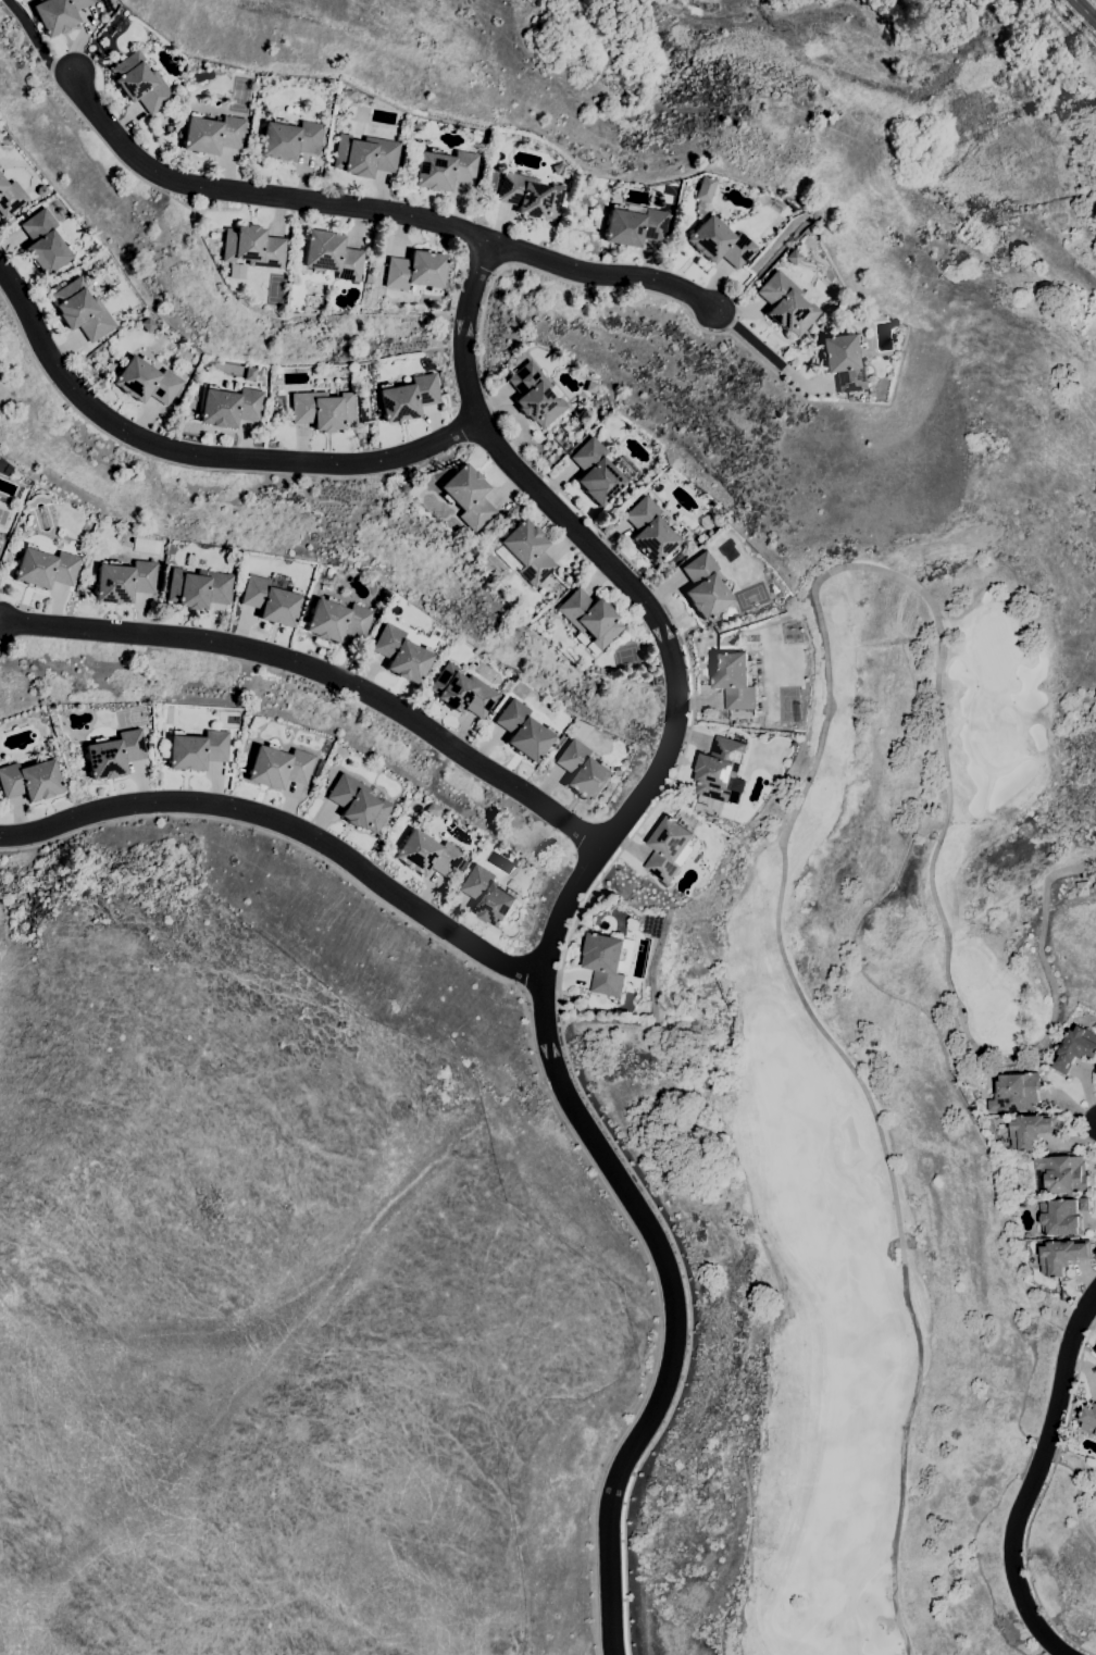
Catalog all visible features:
road: (1084, 11)
building: (58, 14)
road: (1072, 24)
road: (39, 38)
building: (140, 83)
building: (212, 134)
building: (289, 139)
building: (364, 155)
building: (556, 169)
building: (444, 170)
building: (0, 171)
road: (259, 194)
building: (530, 196)
building: (10, 197)
building: (635, 224)
building: (717, 232)
building: (45, 242)
building: (252, 247)
building: (332, 256)
building: (793, 257)
building: (415, 271)
road: (601, 273)
road: (650, 295)
building: (786, 303)
building: (80, 309)
building: (148, 325)
road: (747, 335)
building: (844, 361)
building: (186, 369)
building: (146, 381)
building: (590, 387)
building: (535, 395)
building: (408, 398)
building: (849, 398)
building: (229, 407)
building: (323, 410)
road: (198, 455)
building: (596, 472)
building: (415, 488)
building: (468, 496)
building: (706, 522)
building: (649, 530)
building: (525, 552)
building: (231, 559)
building: (190, 561)
building: (248, 567)
building: (45, 568)
building: (336, 580)
building: (124, 581)
building: (705, 586)
building: (197, 588)
building: (272, 598)
building: (589, 619)
building: (337, 620)
building: (565, 649)
building: (401, 654)
road: (322, 672)
building: (734, 680)
building: (462, 692)
building: (254, 721)
building: (523, 731)
building: (197, 749)
building: (114, 754)
building: (278, 767)
building: (583, 771)
building: (721, 772)
building: (30, 780)
building: (358, 804)
building: (418, 804)
building: (432, 809)
road: (285, 824)
building: (670, 849)
building: (427, 854)
building: (462, 867)
building: (1082, 888)
building: (487, 896)
road: (578, 911)
road: (563, 920)
building: (606, 963)
building: (1075, 1049)
road: (536, 1058)
building: (1095, 1074)
building: (1016, 1093)
park: (889, 1113)
building: (1031, 1130)
building: (1063, 1174)
building: (1084, 1205)
building: (1060, 1217)
building: (1062, 1256)
building: (1095, 1349)
building: (1088, 1419)
road: (1034, 1479)
road: (1039, 1500)

